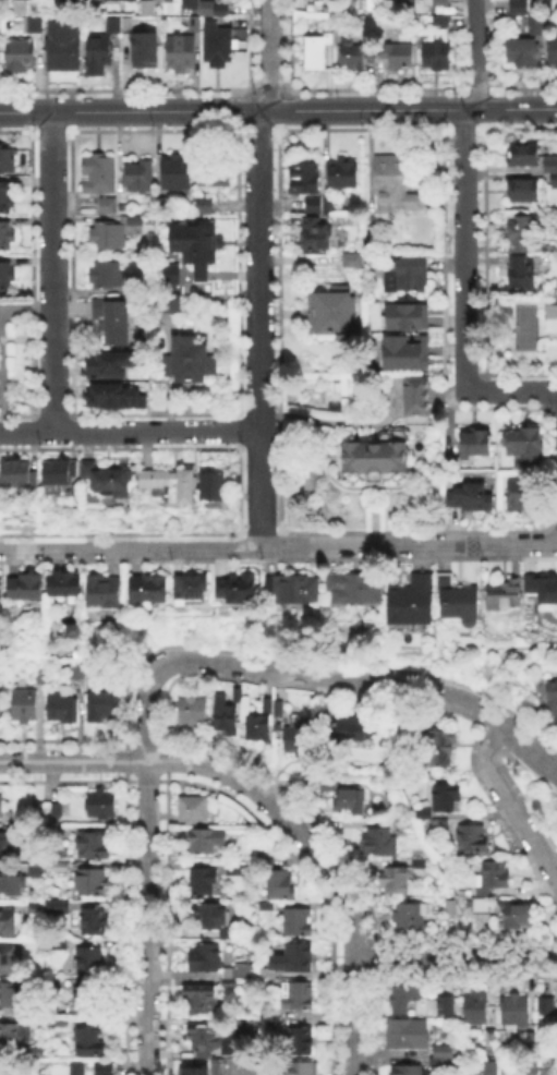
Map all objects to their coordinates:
building: (65, 0)
building: (169, 0)
building: (192, 3)
building: (436, 3)
building: (407, 4)
building: (19, 5)
building: (371, 5)
building: (516, 5)
building: (550, 7)
building: (206, 8)
building: (222, 10)
building: (440, 21)
building: (532, 22)
building: (194, 23)
building: (112, 25)
building: (126, 25)
building: (34, 26)
building: (219, 45)
building: (63, 47)
building: (145, 48)
building: (518, 49)
building: (553, 49)
building: (180, 52)
building: (317, 53)
building: (351, 53)
building: (98, 55)
road: (477, 55)
road: (270, 56)
building: (20, 57)
building: (398, 57)
building: (437, 57)
road: (278, 109)
building: (523, 156)
building: (7, 160)
building: (550, 162)
building: (177, 173)
building: (216, 173)
building: (99, 174)
building: (342, 176)
building: (137, 179)
building: (304, 180)
building: (554, 180)
building: (393, 183)
building: (525, 192)
building: (5, 201)
building: (318, 203)
building: (205, 206)
building: (108, 207)
building: (315, 232)
building: (522, 233)
building: (109, 235)
building: (5, 237)
building: (368, 238)
building: (195, 246)
road: (463, 250)
building: (351, 262)
road: (51, 271)
building: (168, 273)
building: (521, 275)
building: (108, 276)
building: (407, 276)
building: (5, 278)
building: (169, 306)
building: (331, 312)
building: (402, 315)
building: (552, 318)
building: (112, 321)
road: (258, 327)
building: (401, 353)
building: (190, 360)
building: (107, 361)
road: (511, 390)
building: (117, 395)
building: (417, 402)
road: (330, 422)
road: (129, 431)
building: (476, 444)
building: (525, 445)
building: (375, 461)
building: (58, 472)
building: (17, 474)
building: (105, 478)
building: (172, 485)
building: (214, 491)
building: (528, 491)
building: (471, 498)
road: (241, 540)
road: (408, 545)
road: (112, 548)
road: (242, 552)
building: (64, 584)
building: (0, 588)
building: (25, 588)
building: (191, 588)
building: (354, 588)
building: (149, 589)
building: (238, 589)
building: (292, 589)
building: (542, 590)
building: (104, 592)
building: (505, 594)
building: (461, 601)
building: (411, 603)
building: (74, 630)
road: (552, 647)
building: (73, 669)
building: (40, 676)
road: (322, 676)
building: (237, 696)
building: (552, 700)
building: (25, 704)
building: (267, 704)
building: (0, 705)
building: (104, 708)
building: (64, 710)
building: (279, 710)
building: (193, 711)
building: (225, 716)
building: (347, 724)
building: (257, 728)
building: (439, 735)
building: (296, 736)
road: (73, 760)
building: (327, 783)
building: (350, 799)
building: (446, 799)
building: (101, 805)
road: (506, 805)
building: (2, 806)
building: (58, 810)
building: (194, 810)
road: (287, 820)
building: (402, 823)
building: (375, 837)
building: (473, 837)
building: (204, 842)
building: (93, 844)
building: (7, 846)
building: (34, 868)
building: (238, 869)
building: (494, 878)
building: (395, 880)
building: (93, 882)
building: (204, 882)
building: (11, 883)
building: (281, 886)
building: (33, 905)
building: (265, 905)
building: (450, 907)
building: (482, 907)
building: (59, 909)
road: (146, 917)
building: (411, 917)
building: (214, 919)
building: (520, 919)
building: (10, 921)
building: (94, 921)
building: (299, 922)
road: (456, 957)
building: (7, 958)
building: (206, 958)
building: (293, 958)
building: (89, 963)
building: (240, 968)
building: (55, 986)
building: (10, 994)
building: (299, 997)
building: (201, 998)
building: (407, 999)
building: (85, 1001)
building: (443, 1003)
building: (546, 1006)
building: (475, 1008)
building: (516, 1011)
road: (353, 1016)
building: (269, 1017)
building: (61, 1027)
building: (407, 1034)
building: (10, 1037)
building: (531, 1038)
building: (205, 1039)
building: (89, 1041)
building: (301, 1042)
building: (37, 1052)
building: (443, 1055)
building: (529, 1066)
building: (107, 1068)
building: (220, 1068)
building: (303, 1068)
building: (491, 1068)
building: (78, 1070)
building: (192, 1071)
building: (408, 1071)
building: (1, 1073)
building: (39, 1074)

